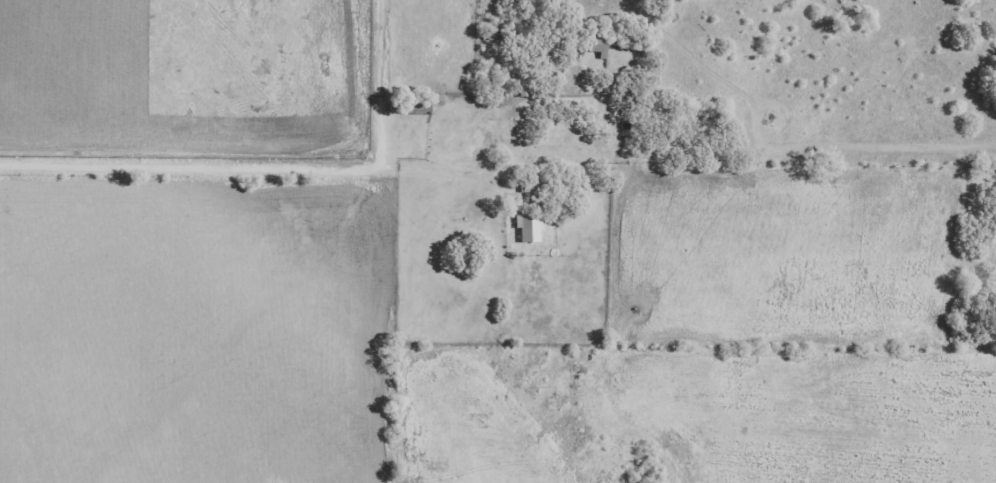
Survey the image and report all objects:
road: (384, 84)
road: (497, 164)
building: (529, 225)

